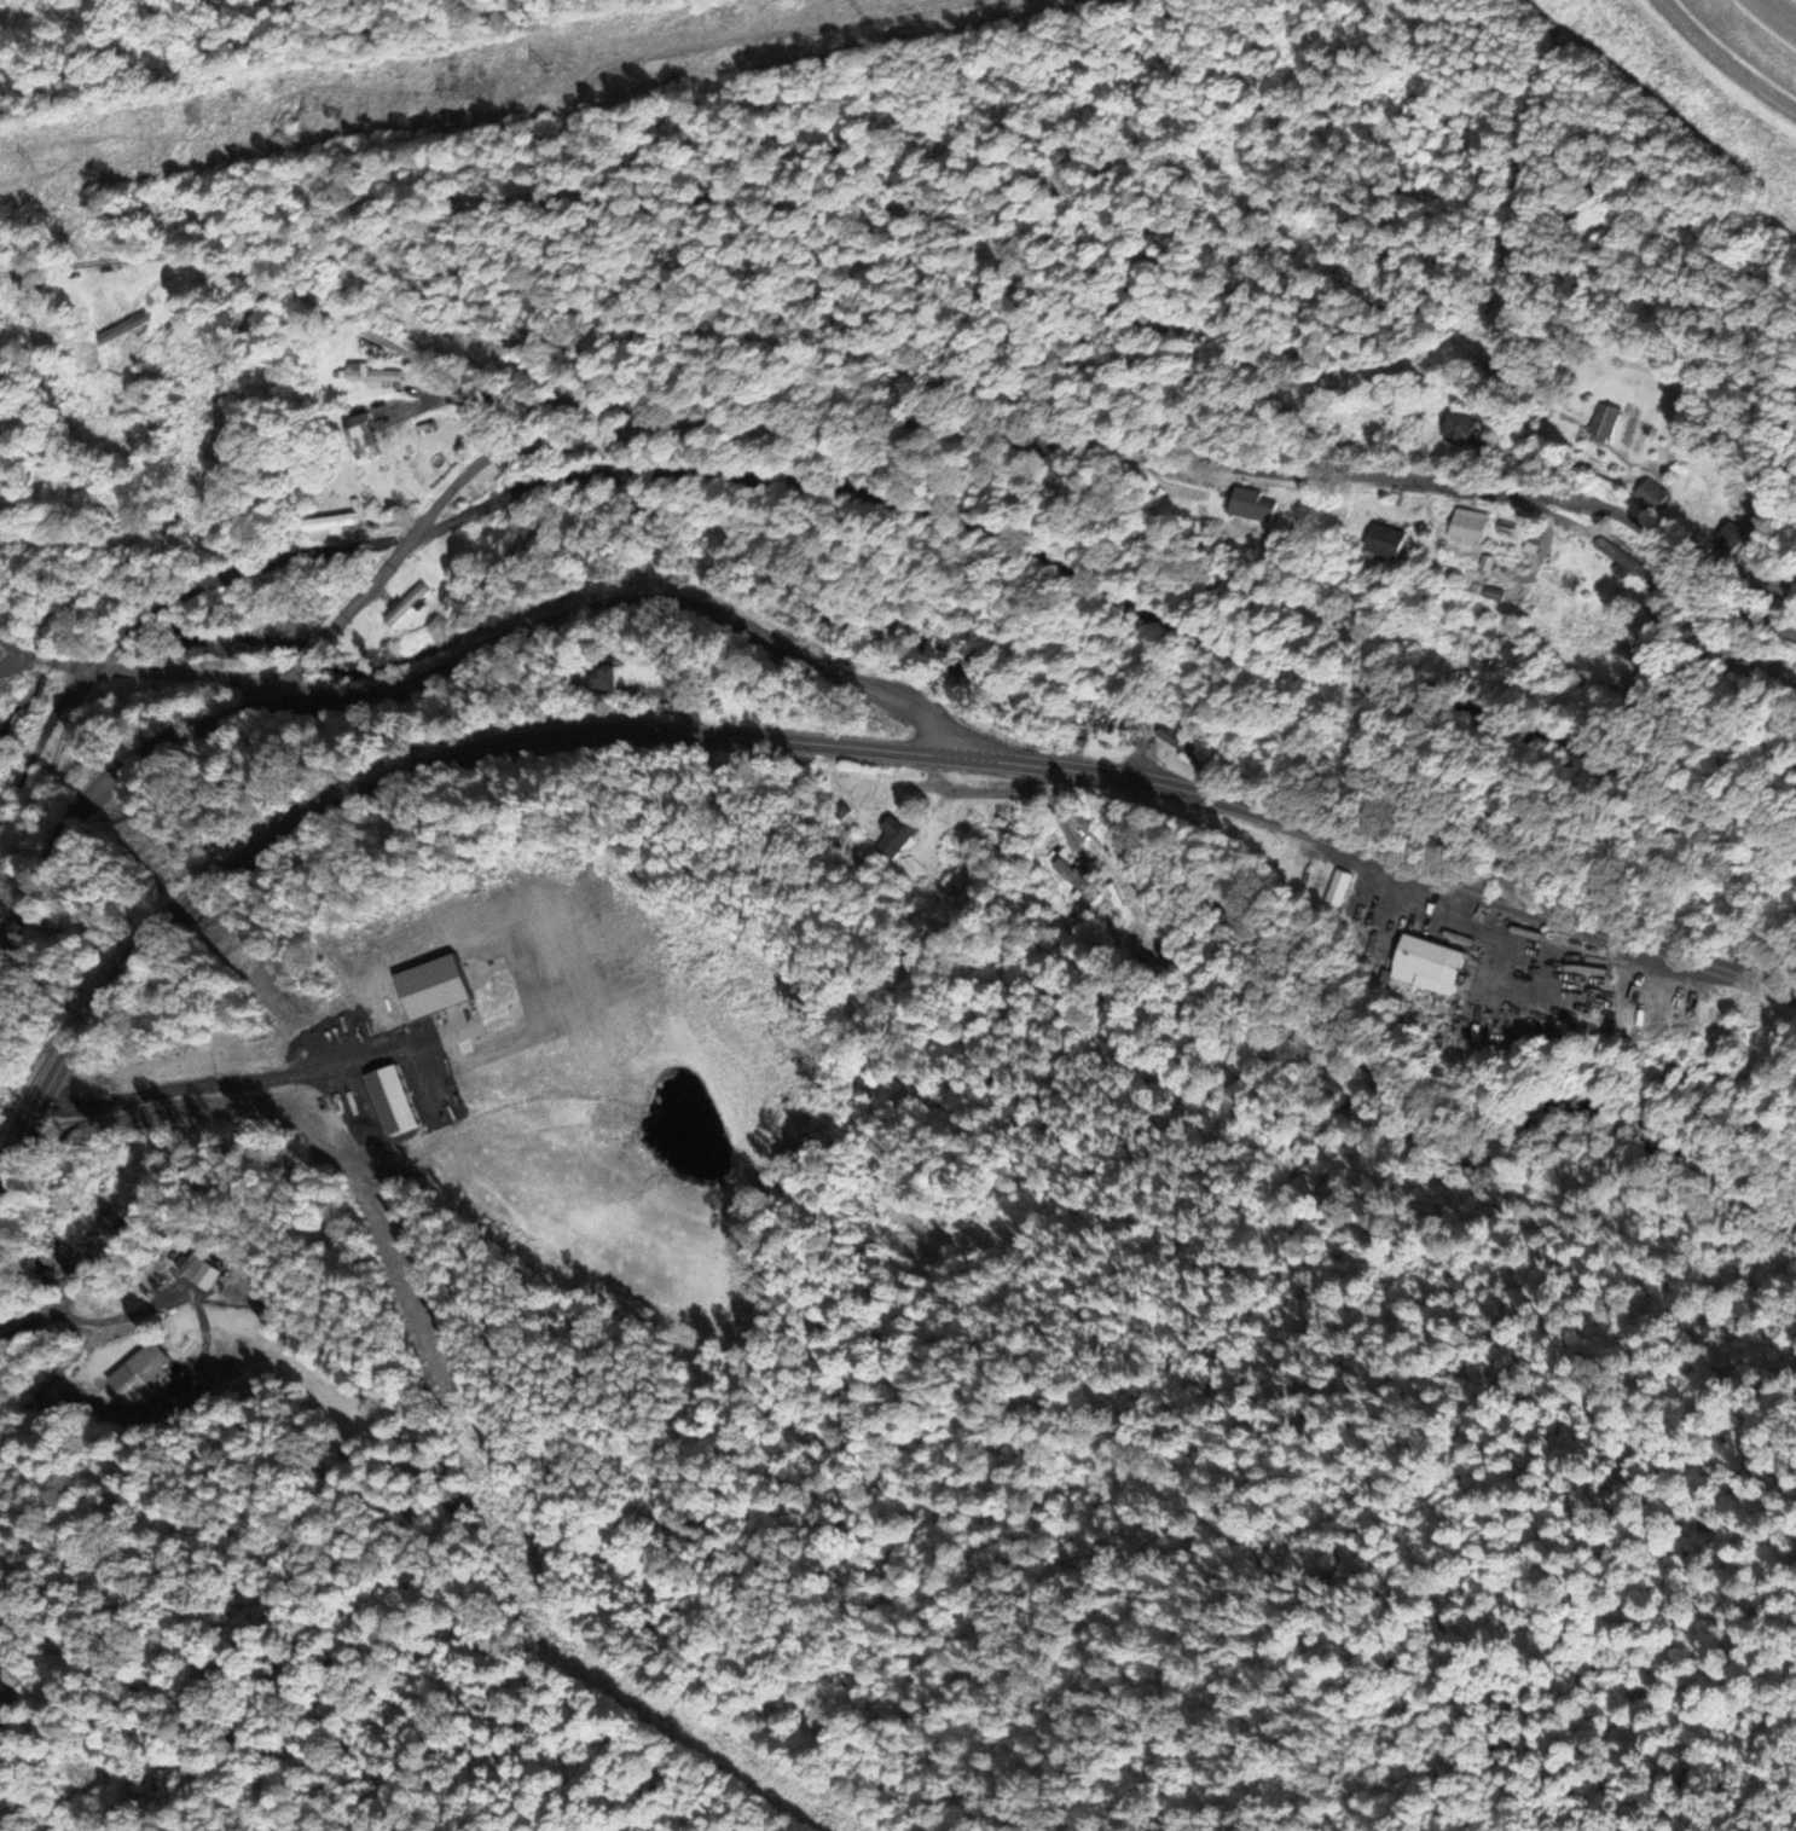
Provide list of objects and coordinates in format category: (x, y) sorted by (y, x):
power tower: (861, 1)
power tower: (546, 57)
power tower: (31, 166)
road: (325, 282)
building: (122, 329)
building: (1606, 421)
building: (1458, 428)
building: (359, 431)
road: (998, 431)
building: (419, 434)
building: (1651, 494)
building: (1245, 502)
building: (329, 522)
building: (1470, 525)
building: (1386, 541)
building: (1617, 556)
building: (406, 605)
road: (653, 607)
road: (160, 668)
road: (823, 743)
road: (115, 776)
building: (1010, 815)
building: (897, 835)
building: (1073, 880)
building: (1338, 887)
building: (1429, 966)
road: (899, 1112)
building: (192, 1265)
building: (140, 1372)

